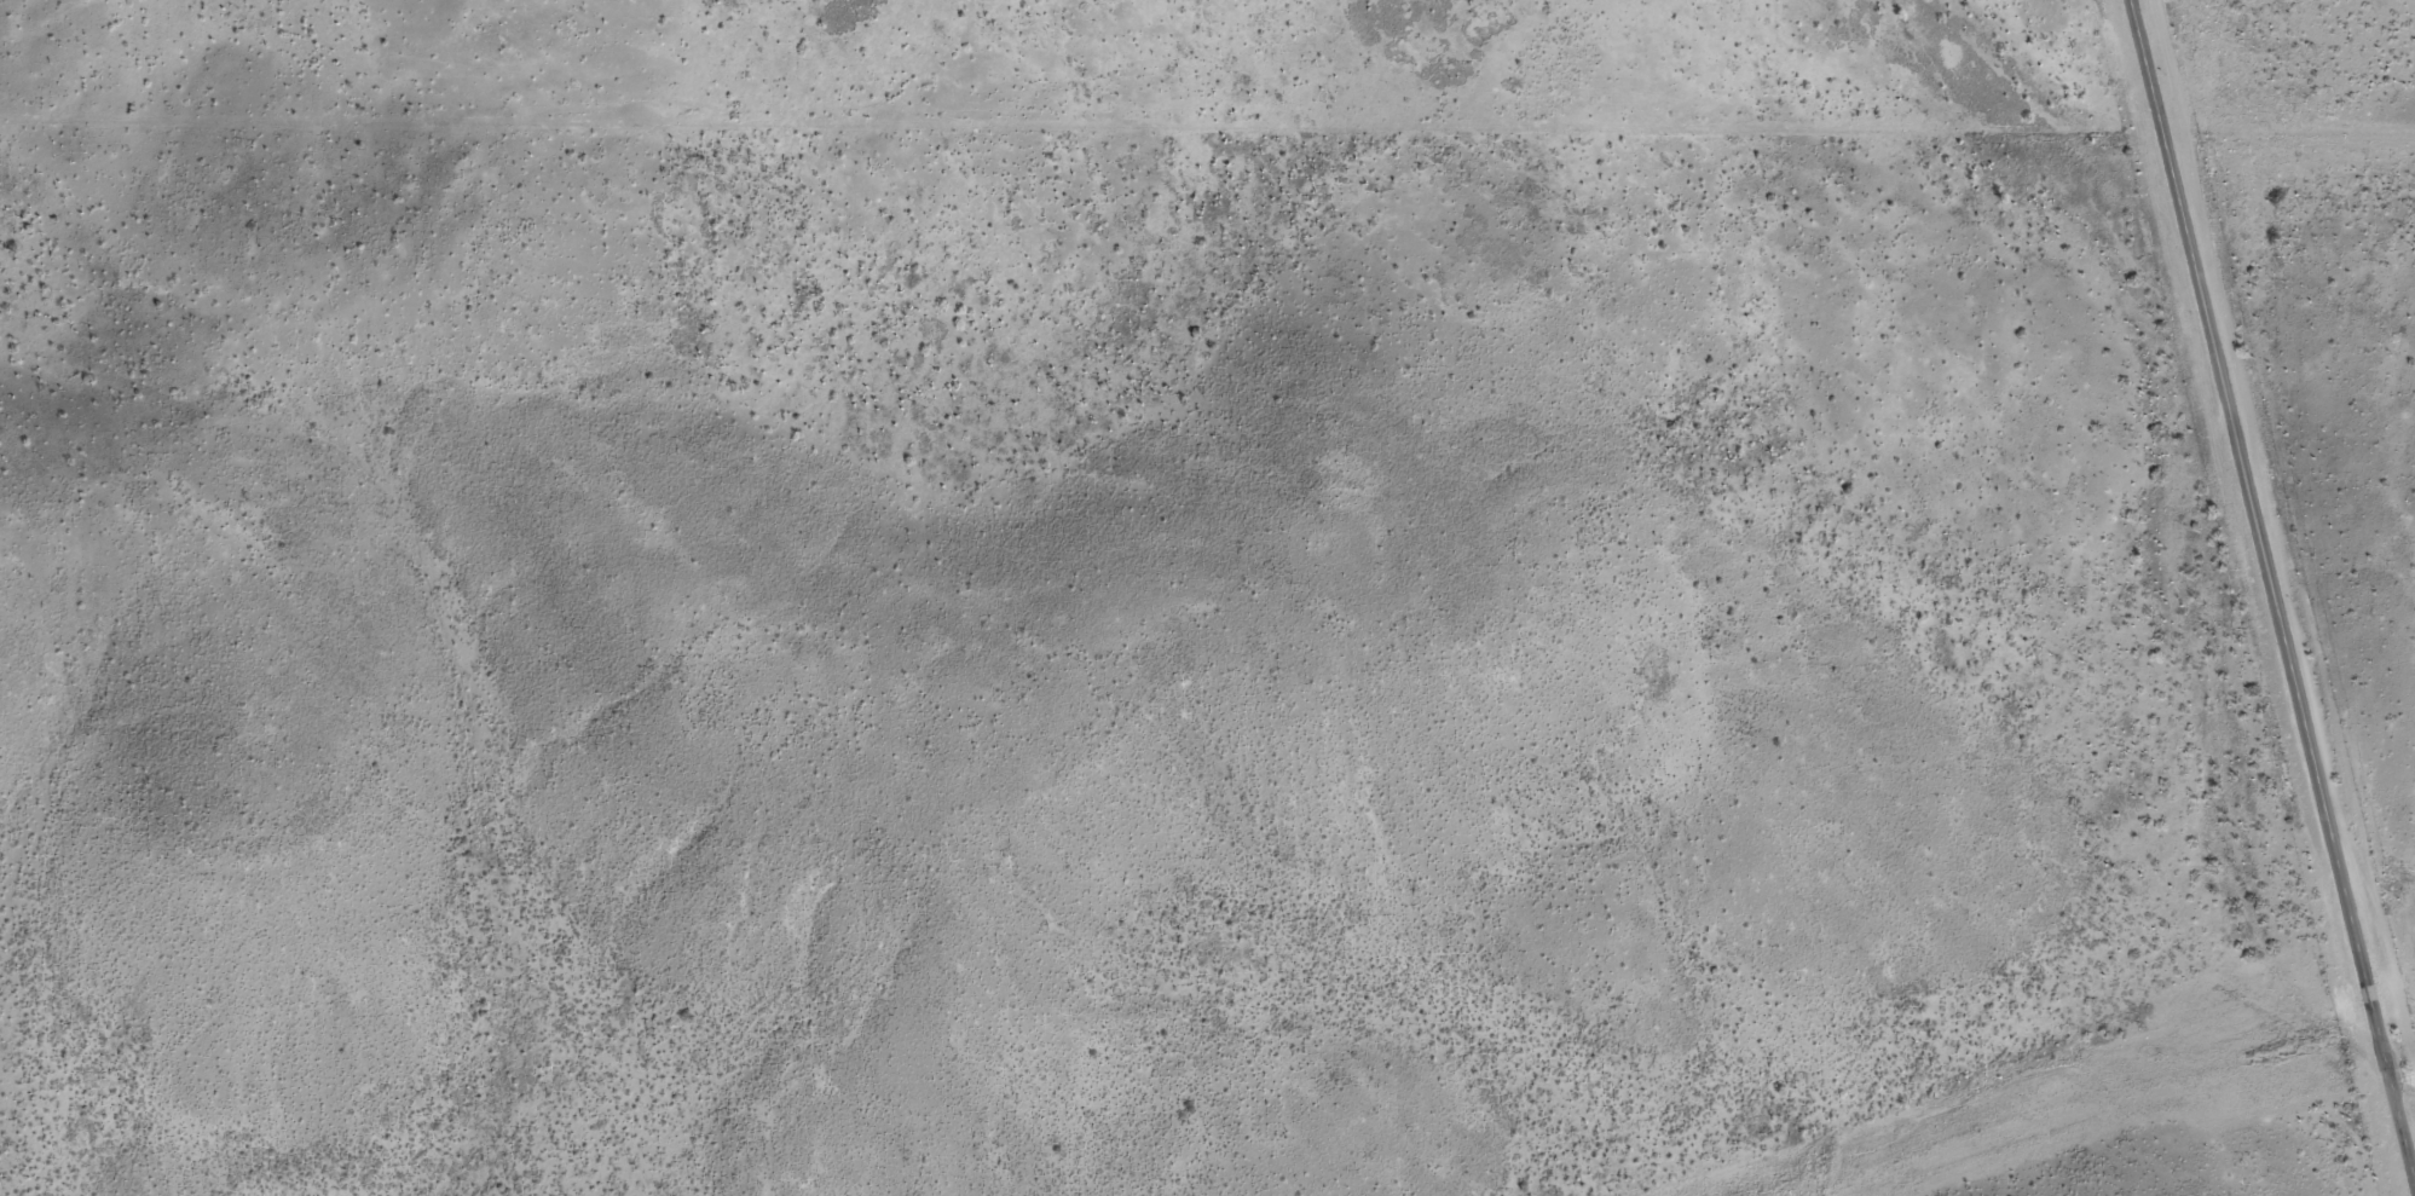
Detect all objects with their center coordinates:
road: (2274, 589)

